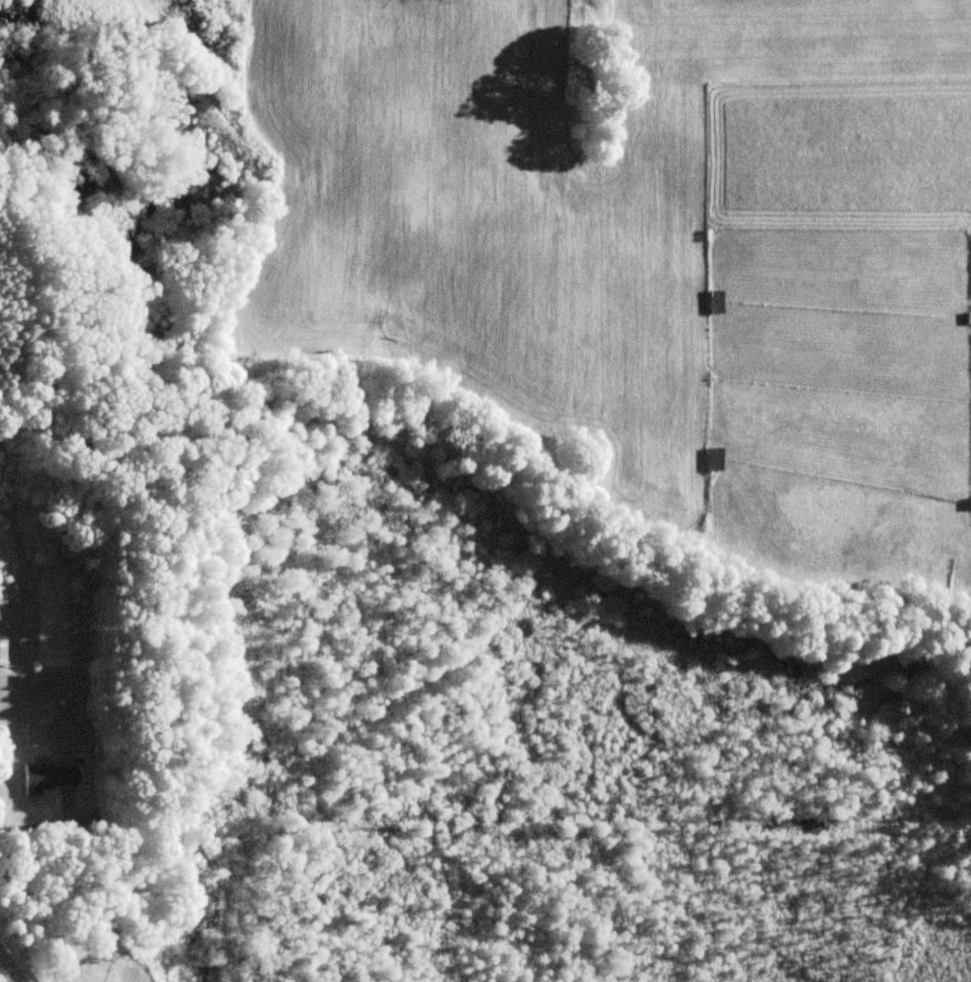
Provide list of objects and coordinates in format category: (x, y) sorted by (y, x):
building: (714, 302)
building: (715, 459)
building: (1, 652)
building: (45, 779)
road: (71, 822)
road: (3, 976)

